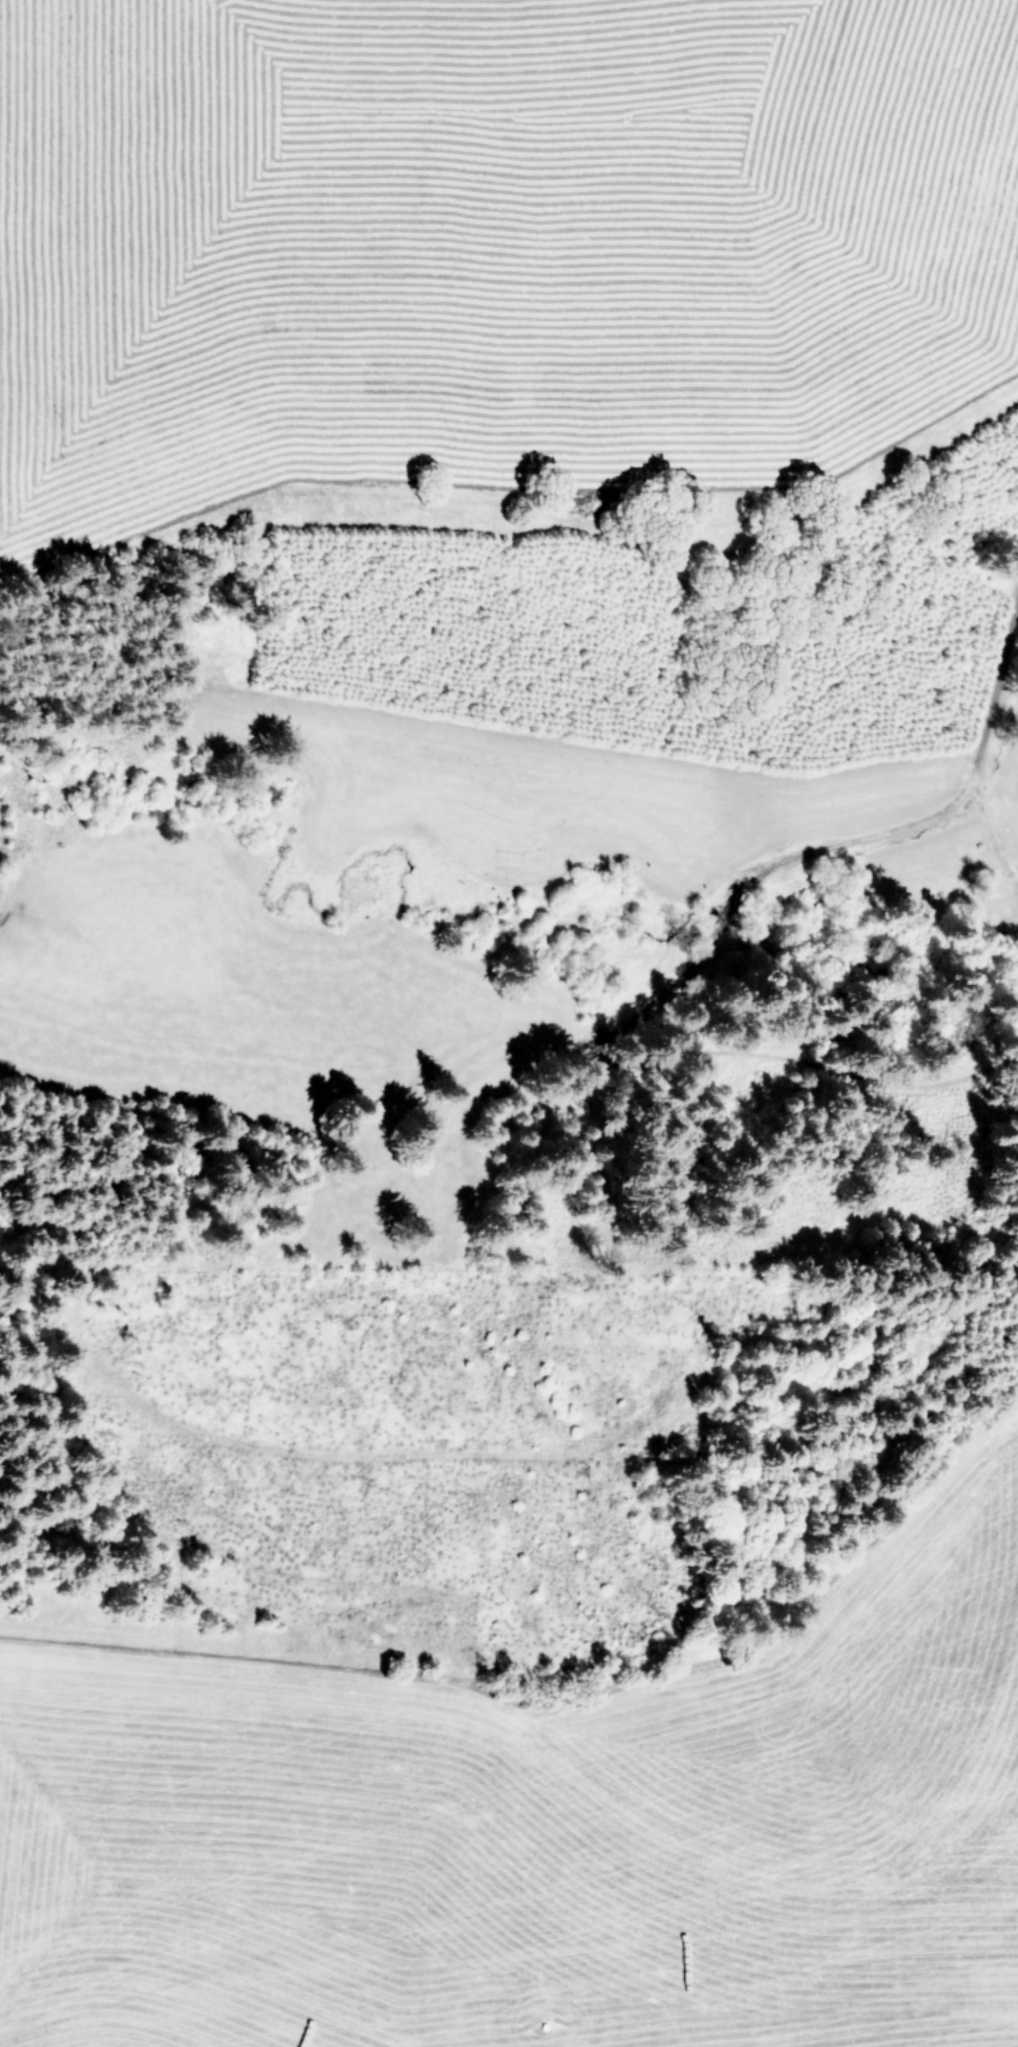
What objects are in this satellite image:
crop: (481, 266)
road: (976, 750)
road: (658, 865)

